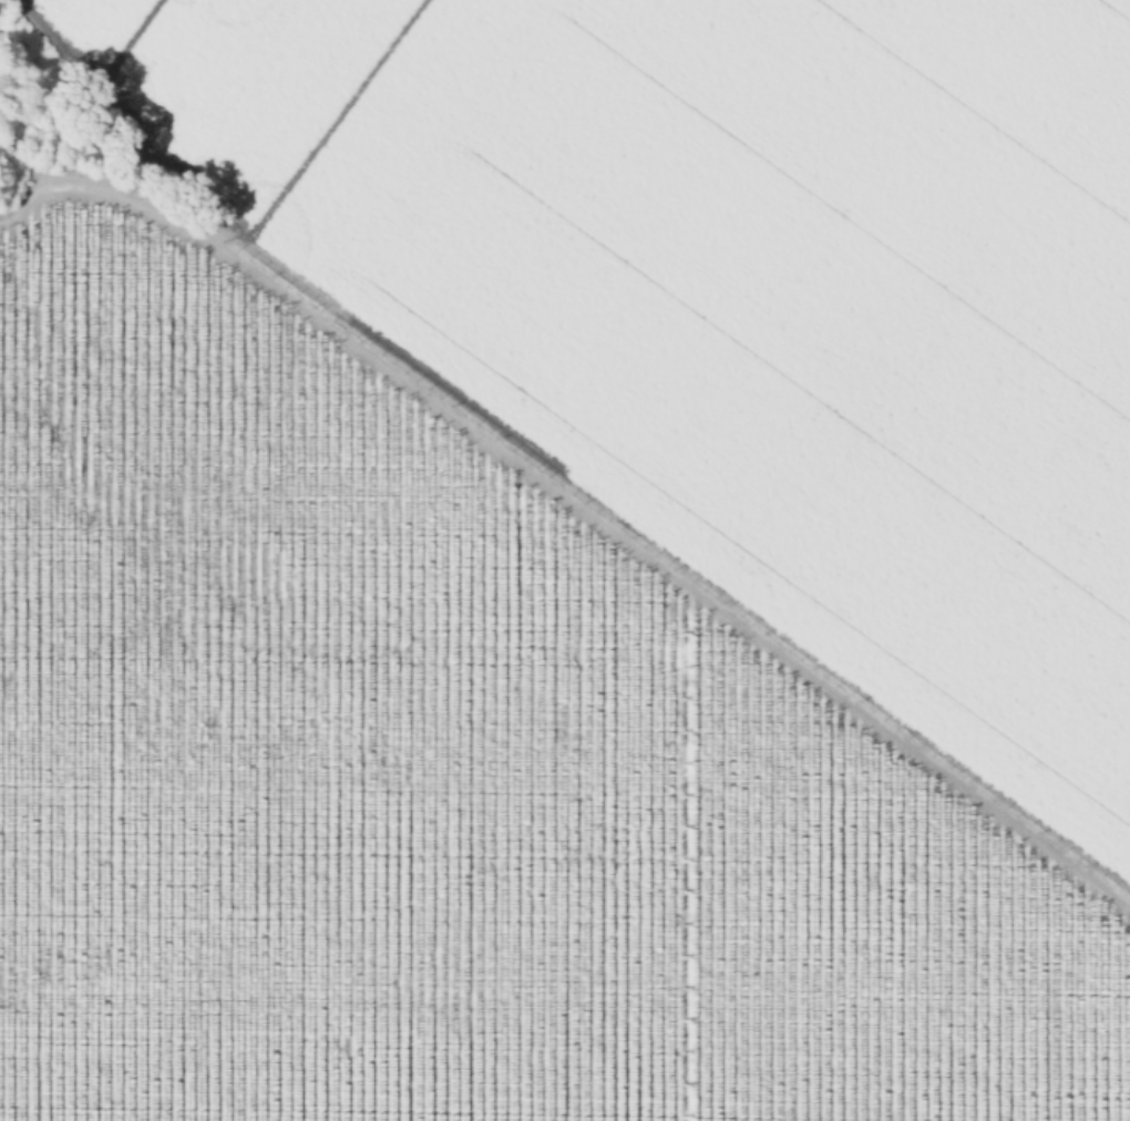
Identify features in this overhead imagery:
crop: (572, 566)

